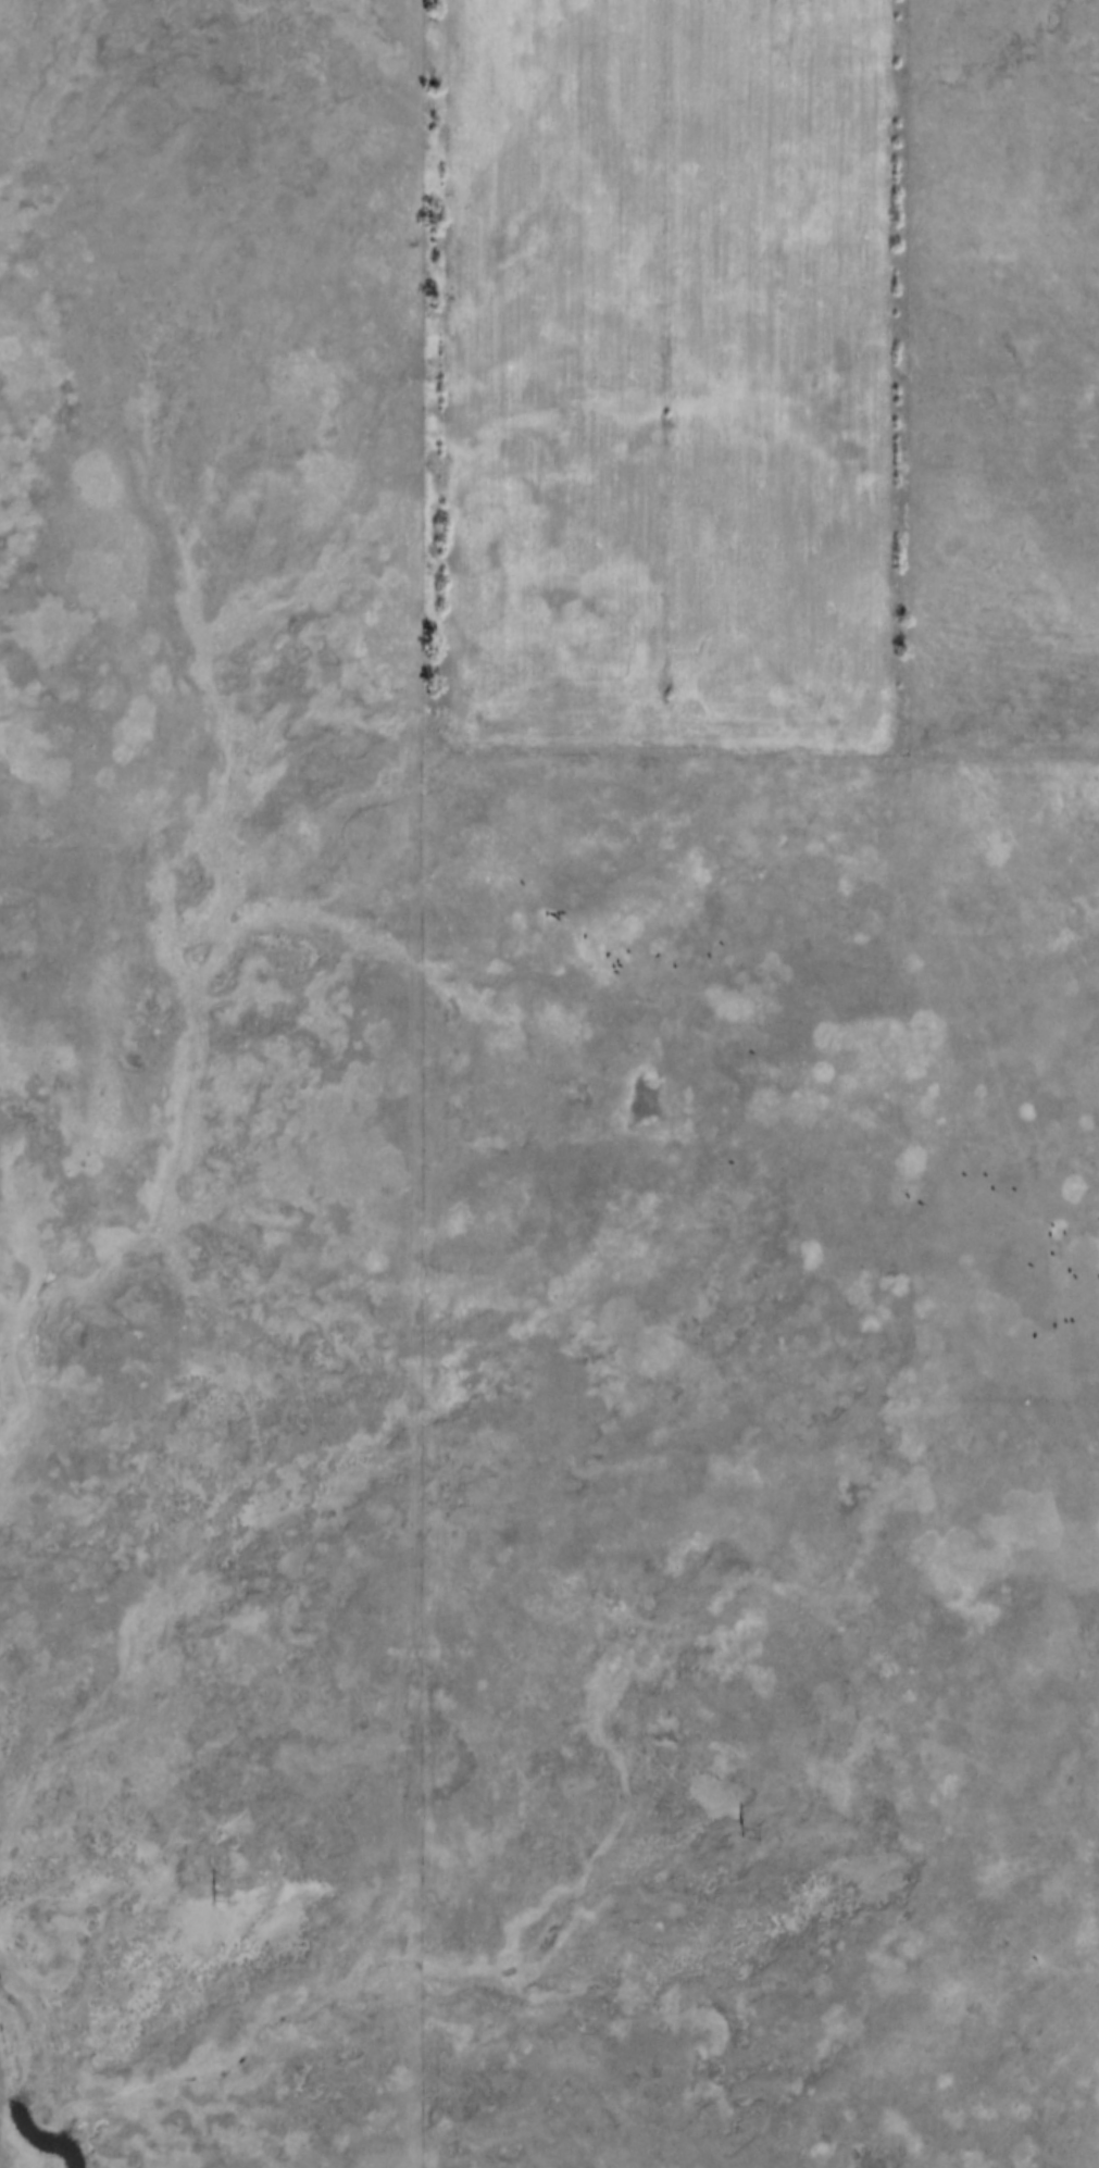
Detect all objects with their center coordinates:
power tower: (741, 1832)
power tower: (226, 1895)

